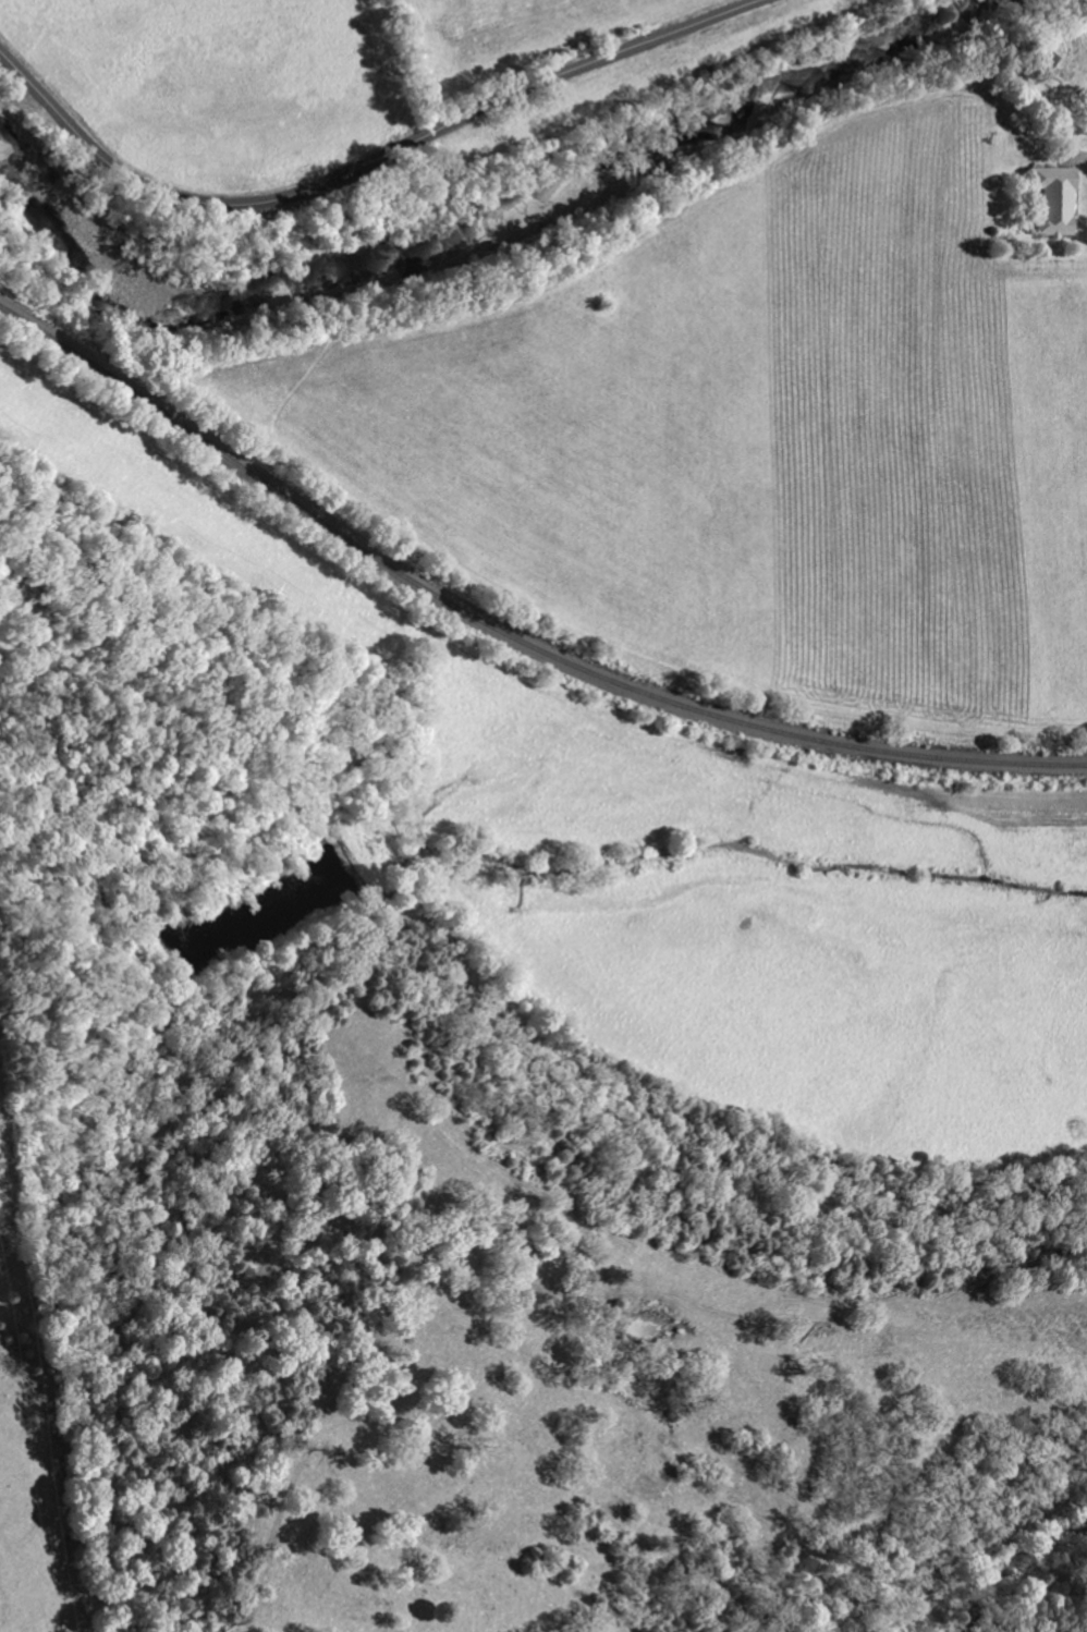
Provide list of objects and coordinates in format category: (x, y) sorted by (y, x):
road: (1084, 156)
road: (366, 159)
railway: (504, 632)

